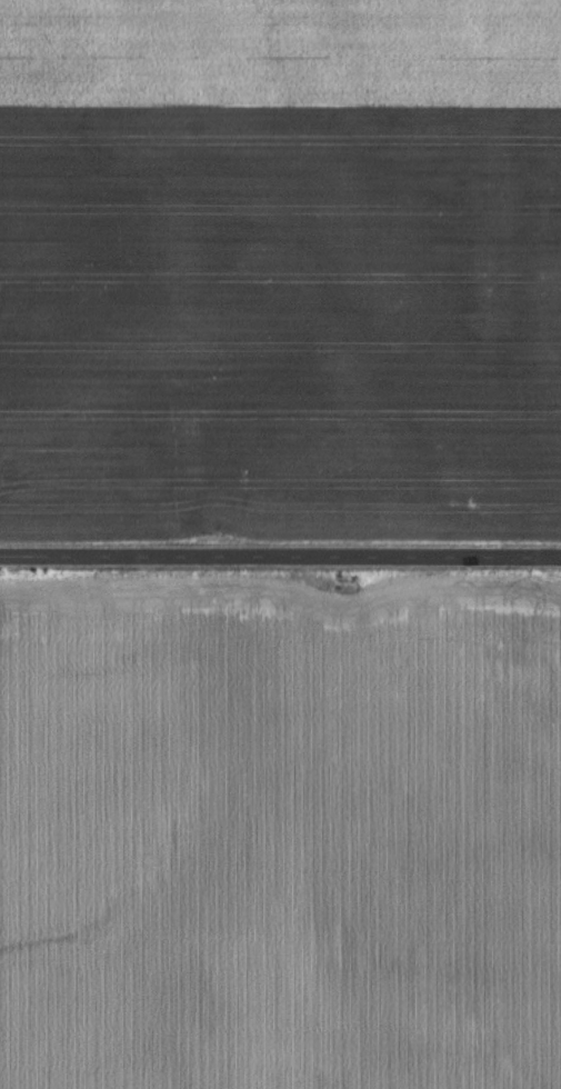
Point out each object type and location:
road: (280, 556)

